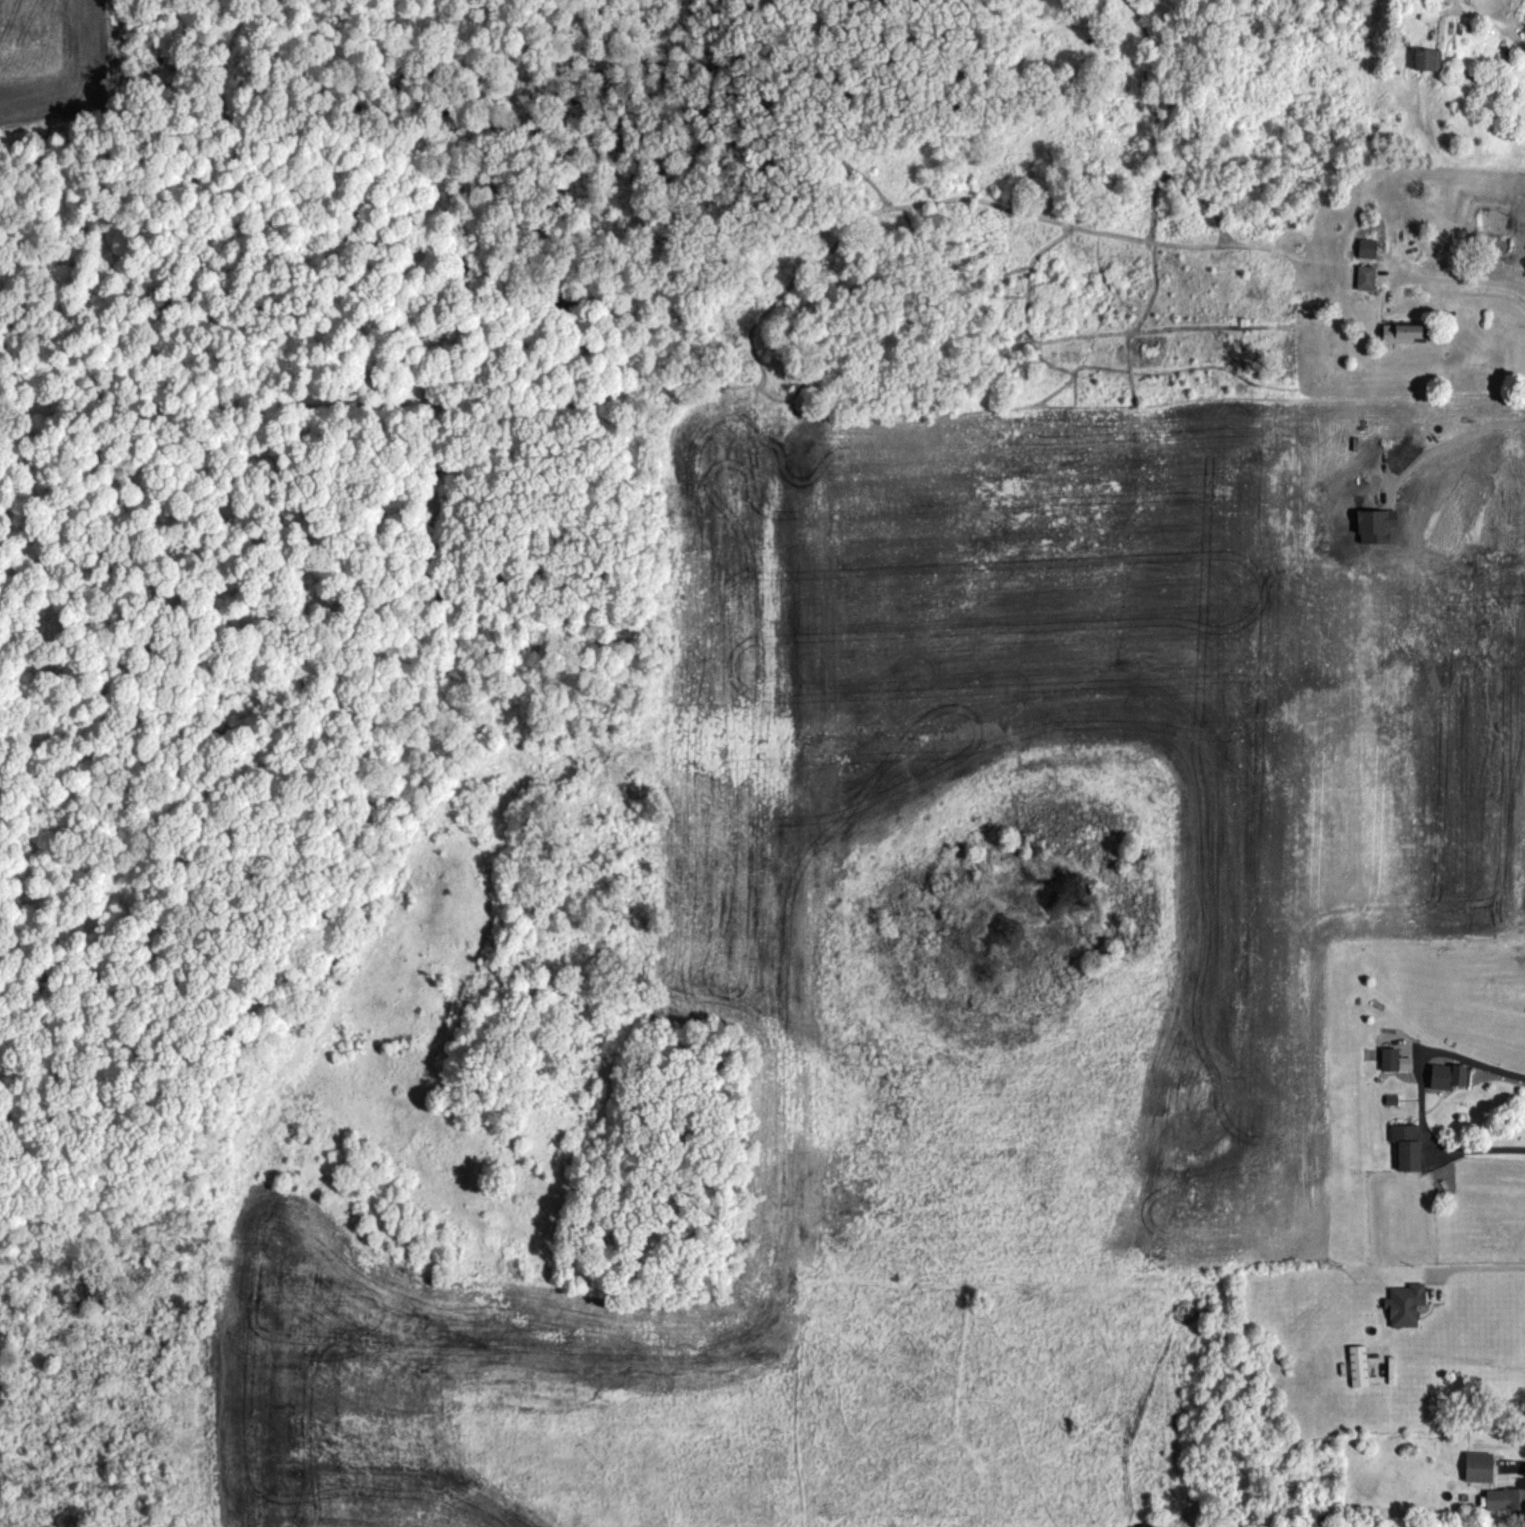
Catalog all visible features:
road: (1498, 19)
building: (1427, 60)
building: (1366, 249)
building: (1365, 279)
road: (1463, 281)
building: (1402, 335)
road: (1447, 433)
building: (1396, 1060)
building: (1449, 1076)
road: (1419, 1096)
building: (1407, 1146)
road: (1482, 1270)
building: (1358, 1366)
building: (1479, 1467)
building: (1505, 1500)

